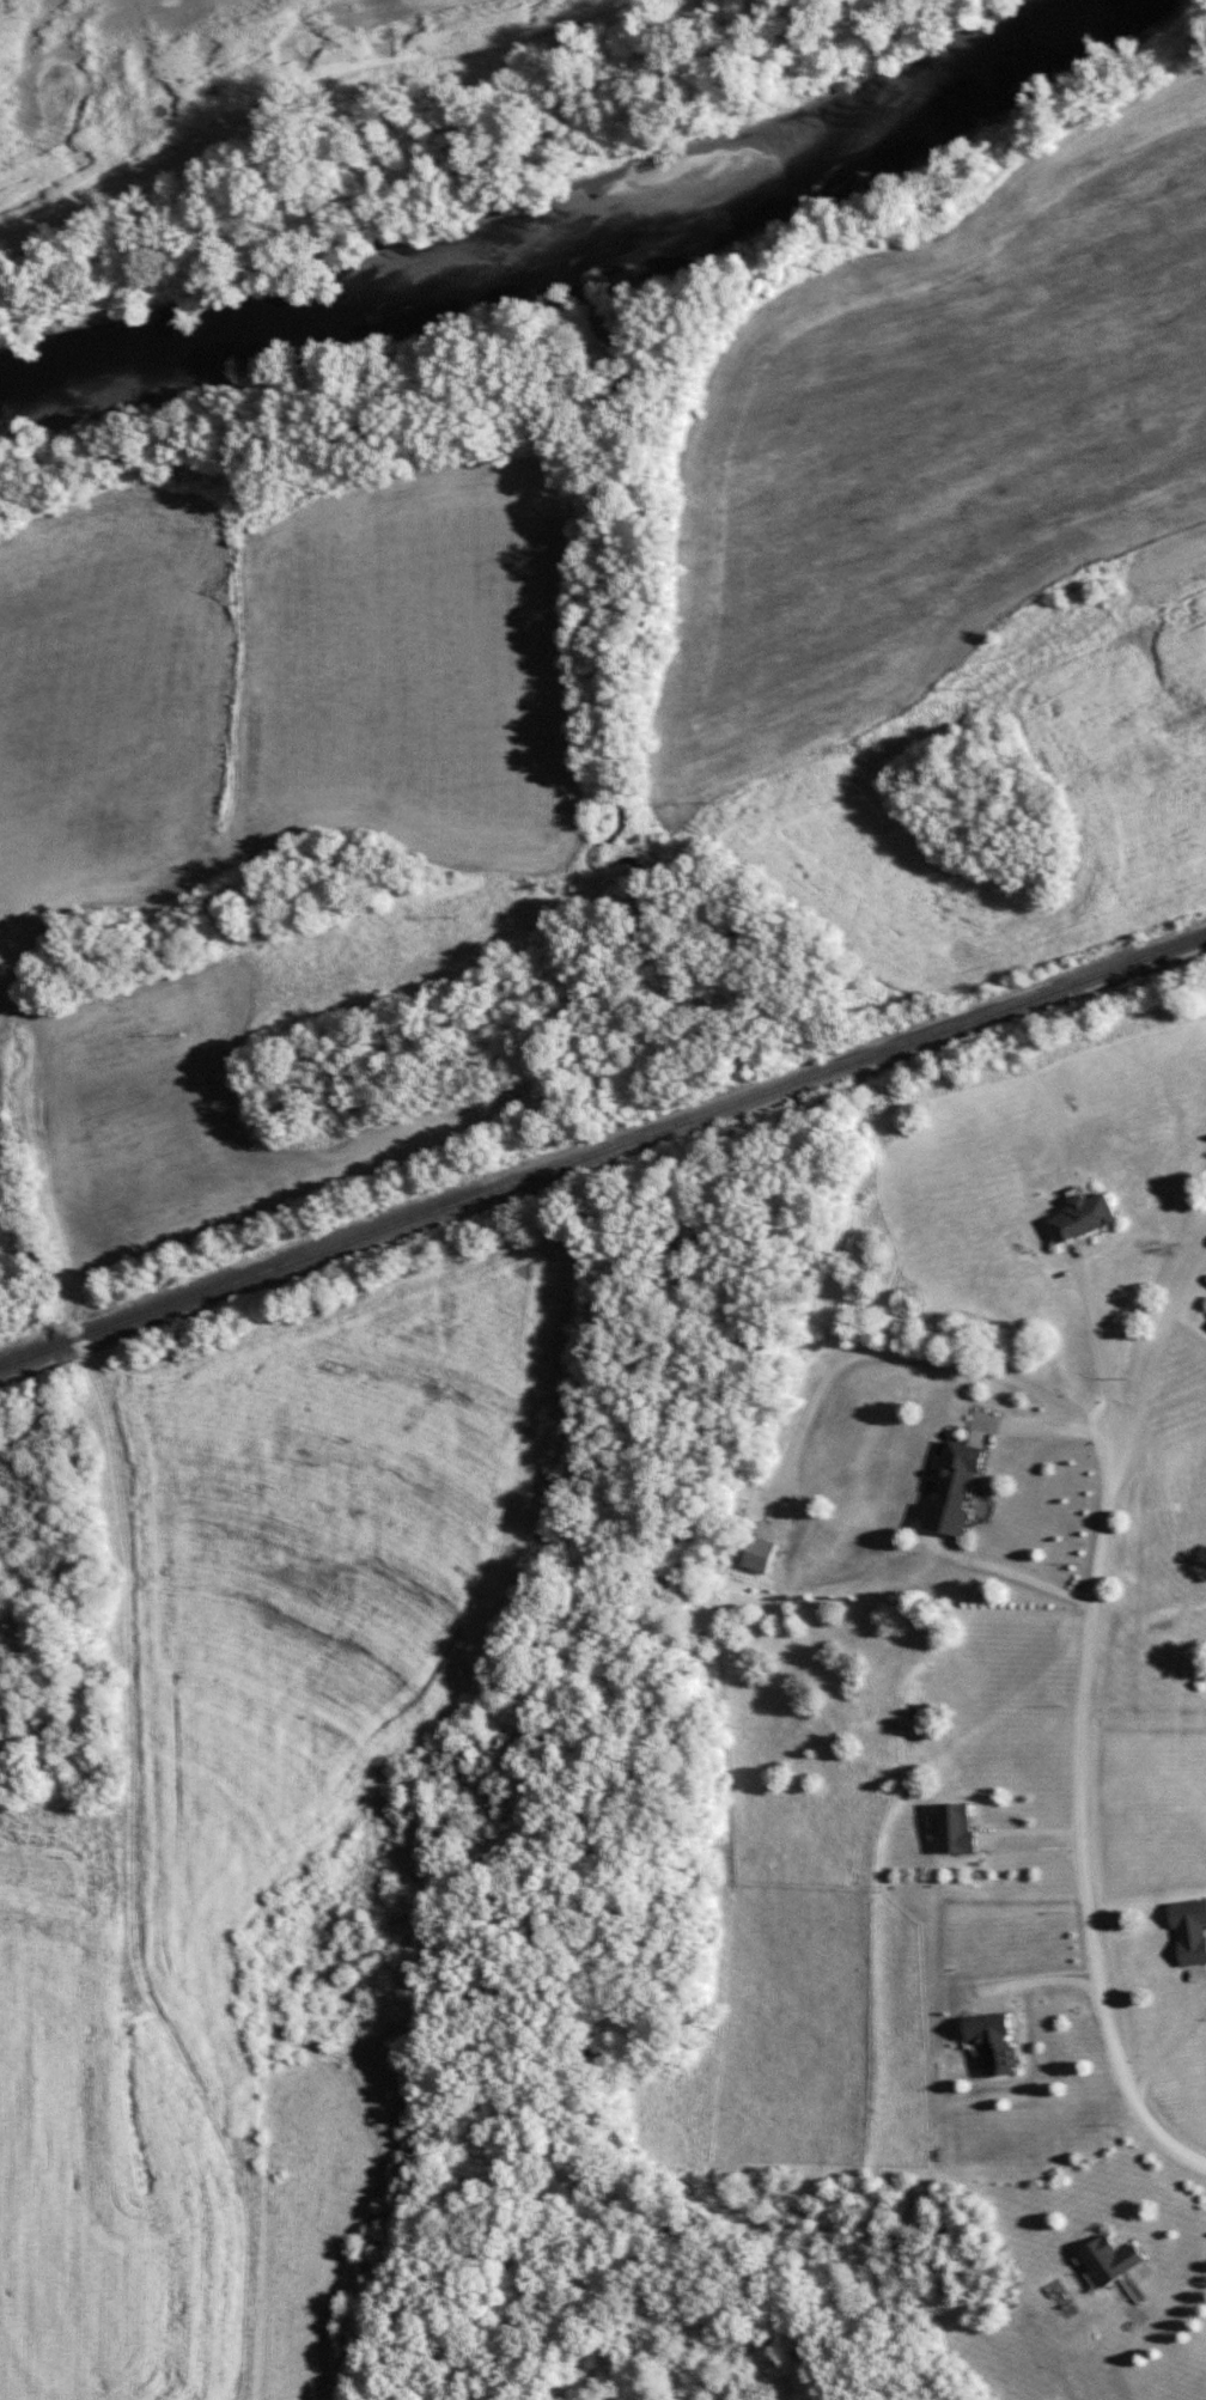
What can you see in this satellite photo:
river: (567, 238)
railway: (603, 1149)
building: (1078, 1214)
road: (1159, 1341)
road: (1052, 1419)
building: (954, 1490)
building: (756, 1552)
road: (1083, 1822)
building: (951, 1826)
building: (1187, 1929)
building: (988, 2041)
road: (1184, 2041)
building: (1109, 2264)
road: (1183, 2295)

